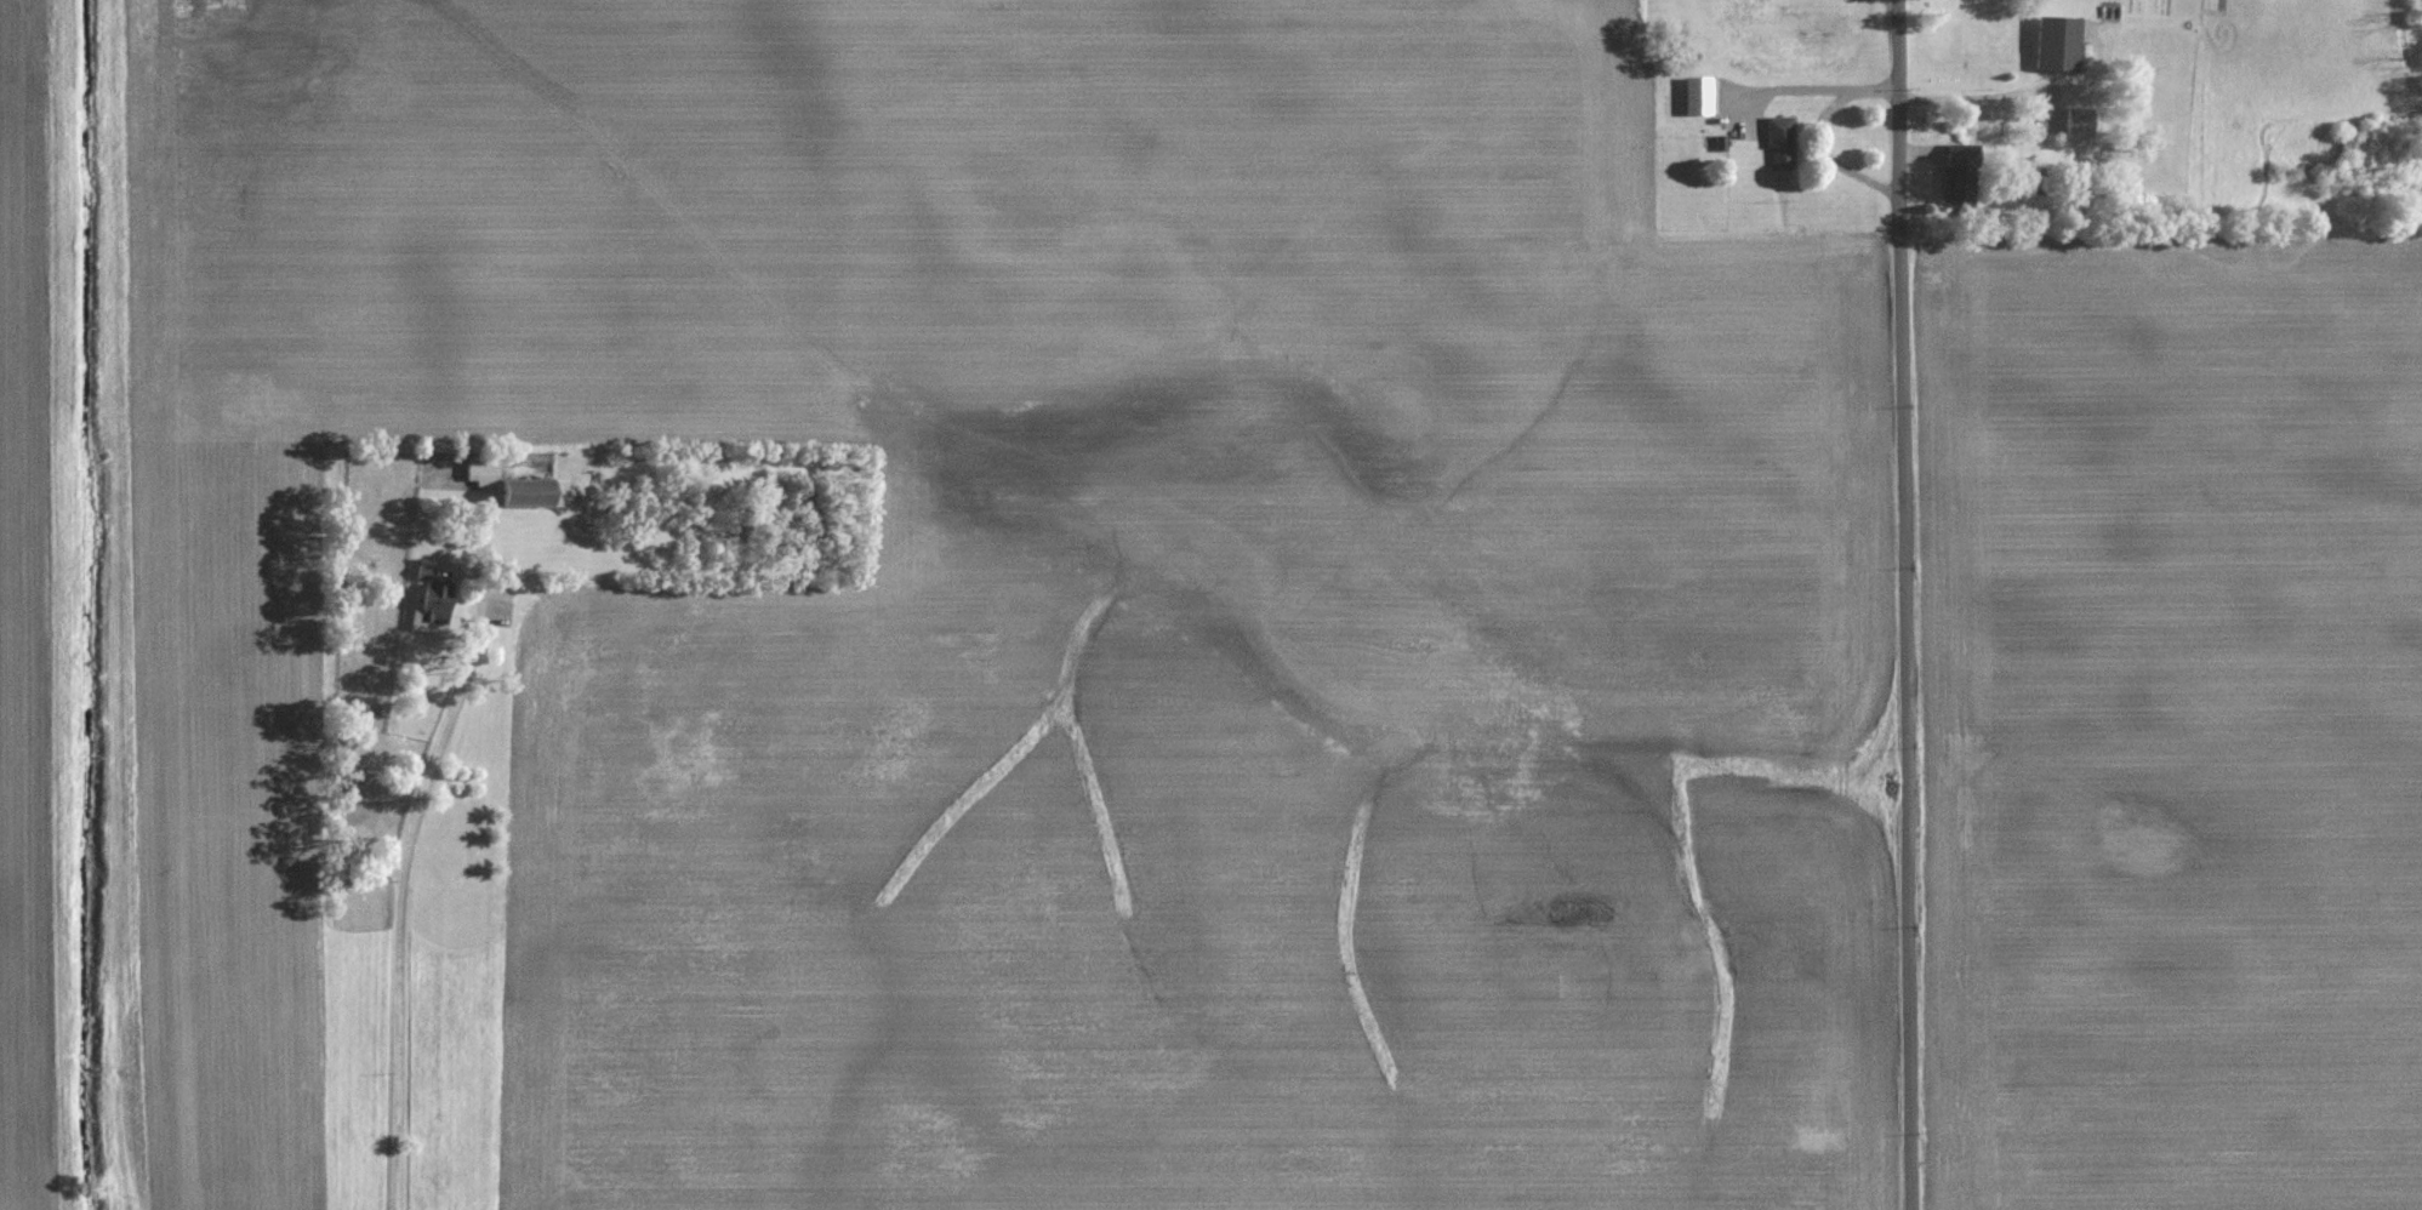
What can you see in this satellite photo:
building: (2061, 45)
road: (1974, 78)
building: (2081, 124)
road: (1819, 130)
building: (1782, 143)
building: (1962, 176)
building: (488, 472)
building: (530, 492)
building: (434, 600)
road: (1905, 605)
road: (398, 913)

